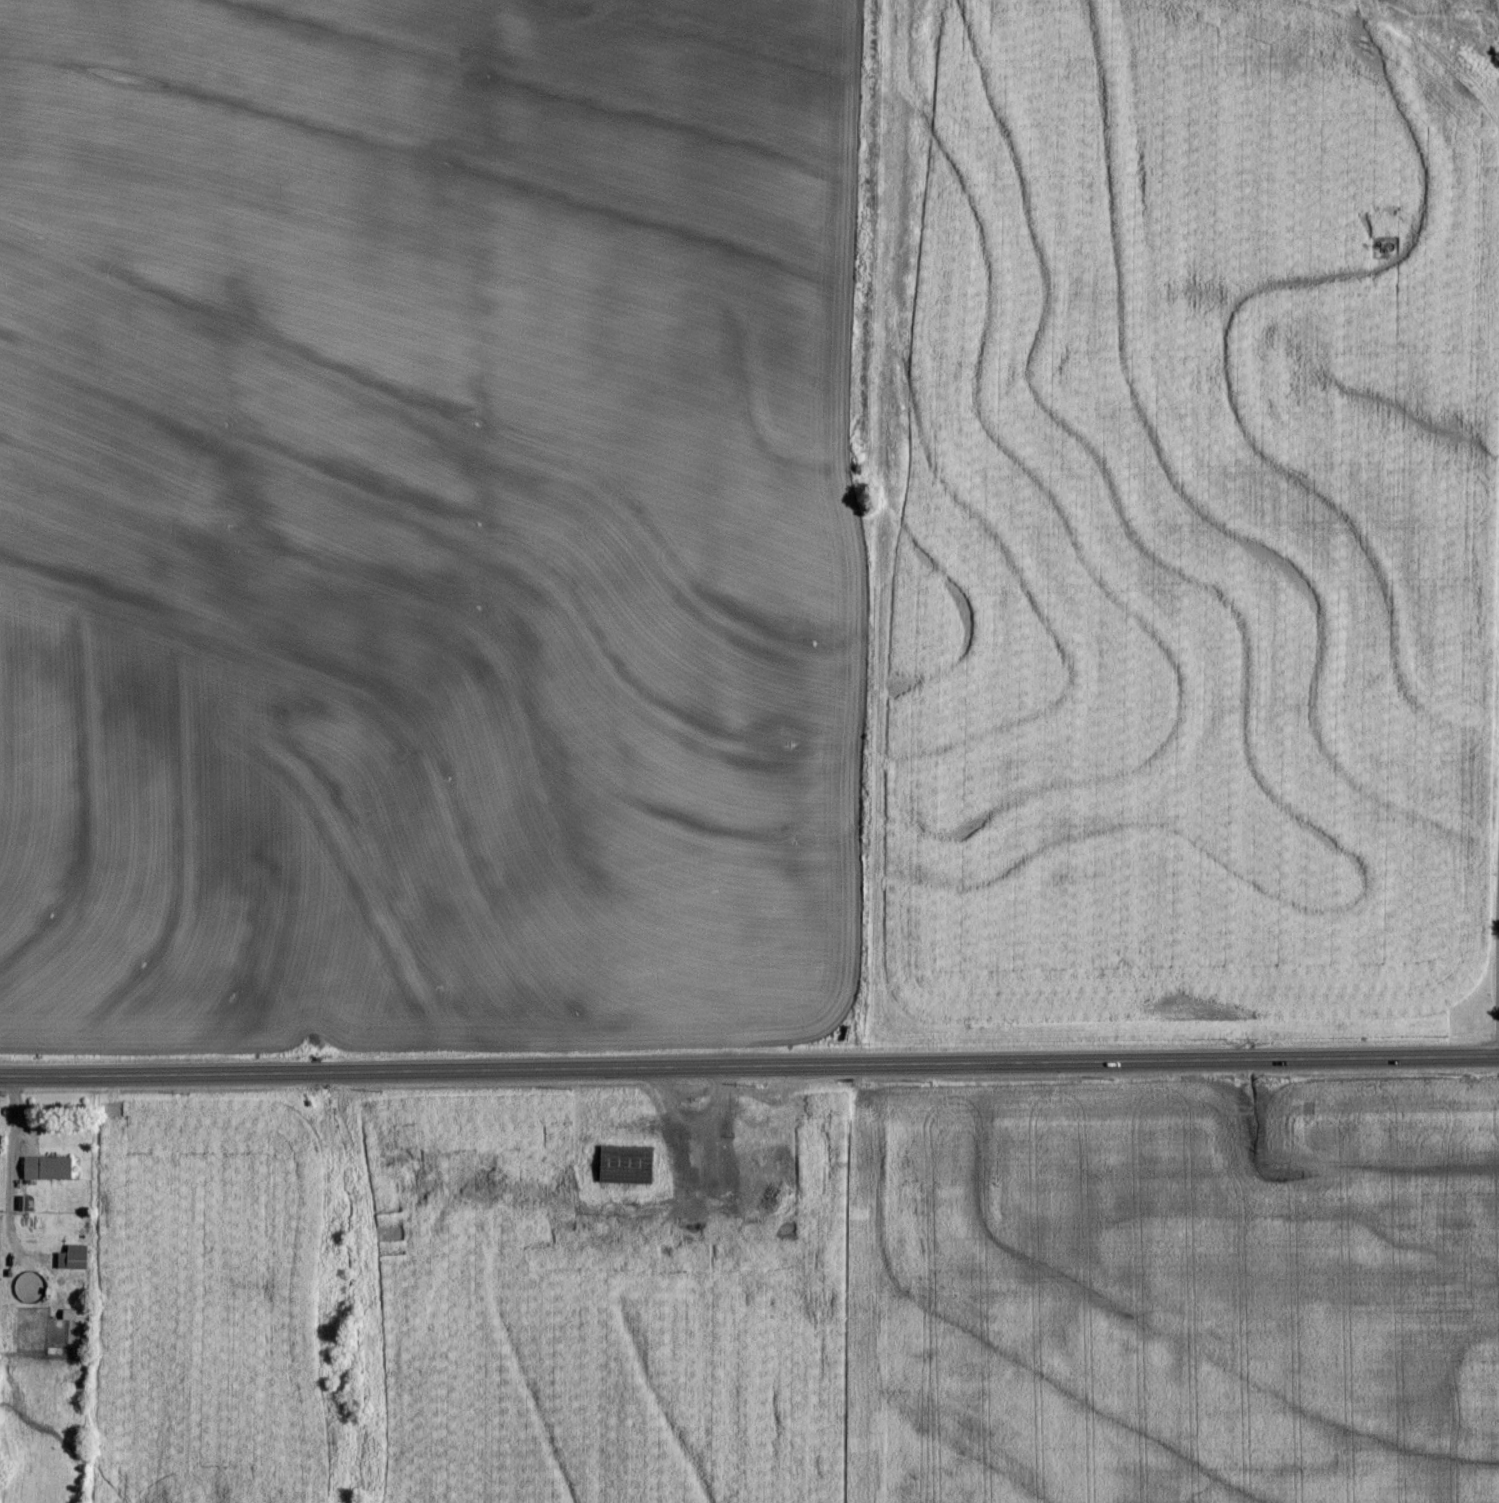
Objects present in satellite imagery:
crop: (1186, 525)
crop: (436, 526)
road: (749, 1066)
building: (627, 1165)
building: (49, 1169)
building: (78, 1261)
crop: (1173, 1288)
building: (73, 1311)

